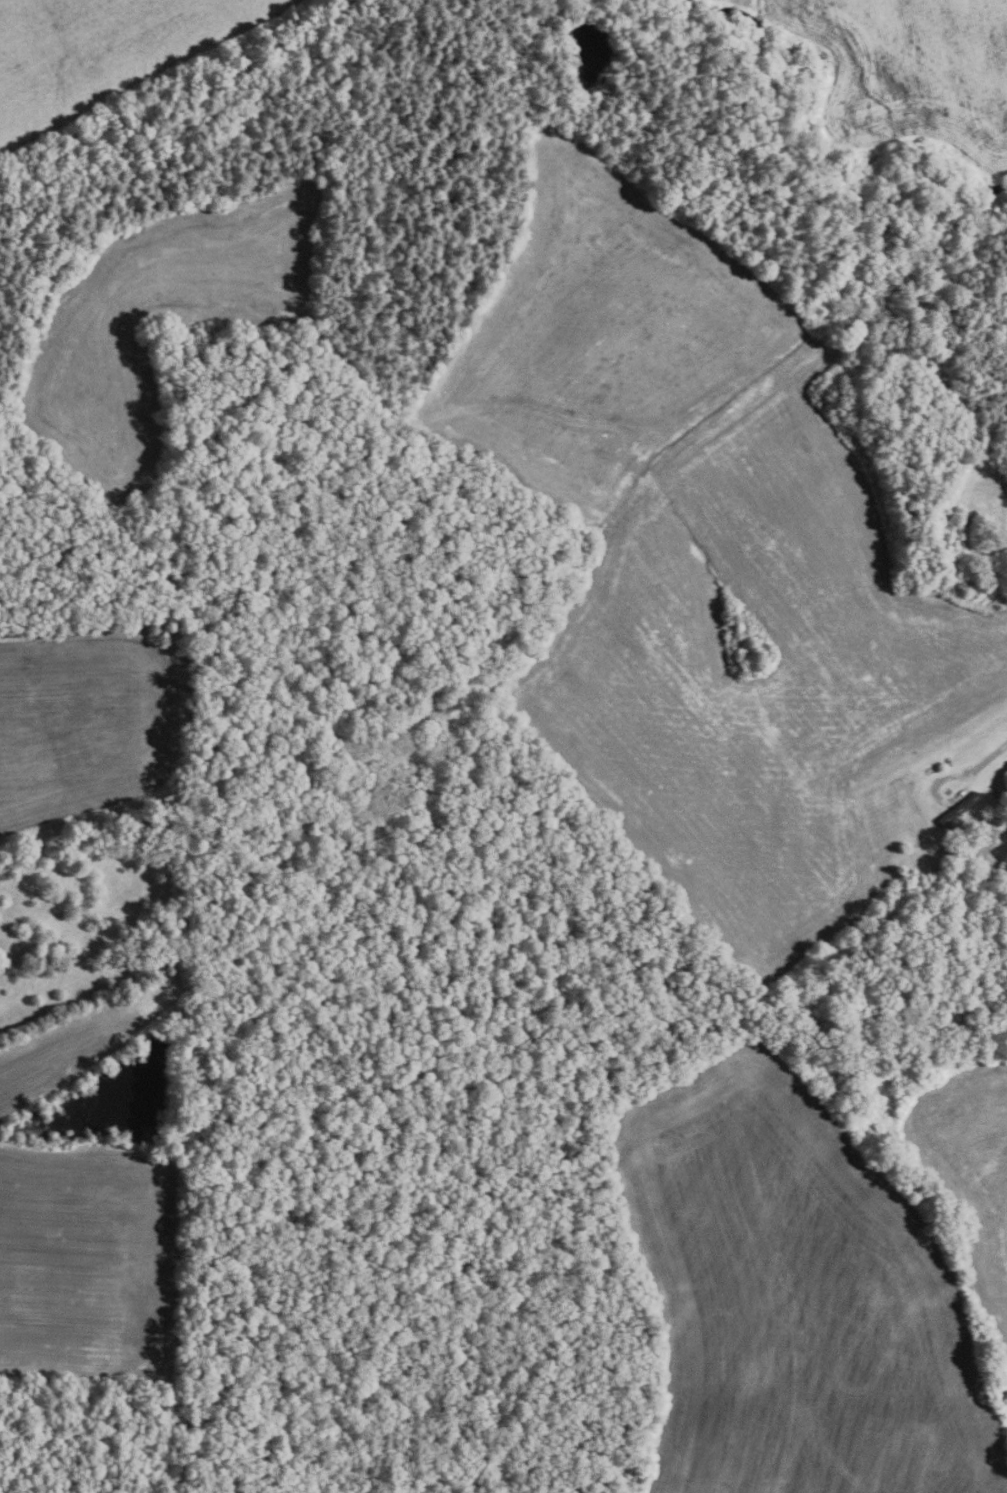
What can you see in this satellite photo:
road: (987, 758)
building: (958, 809)

